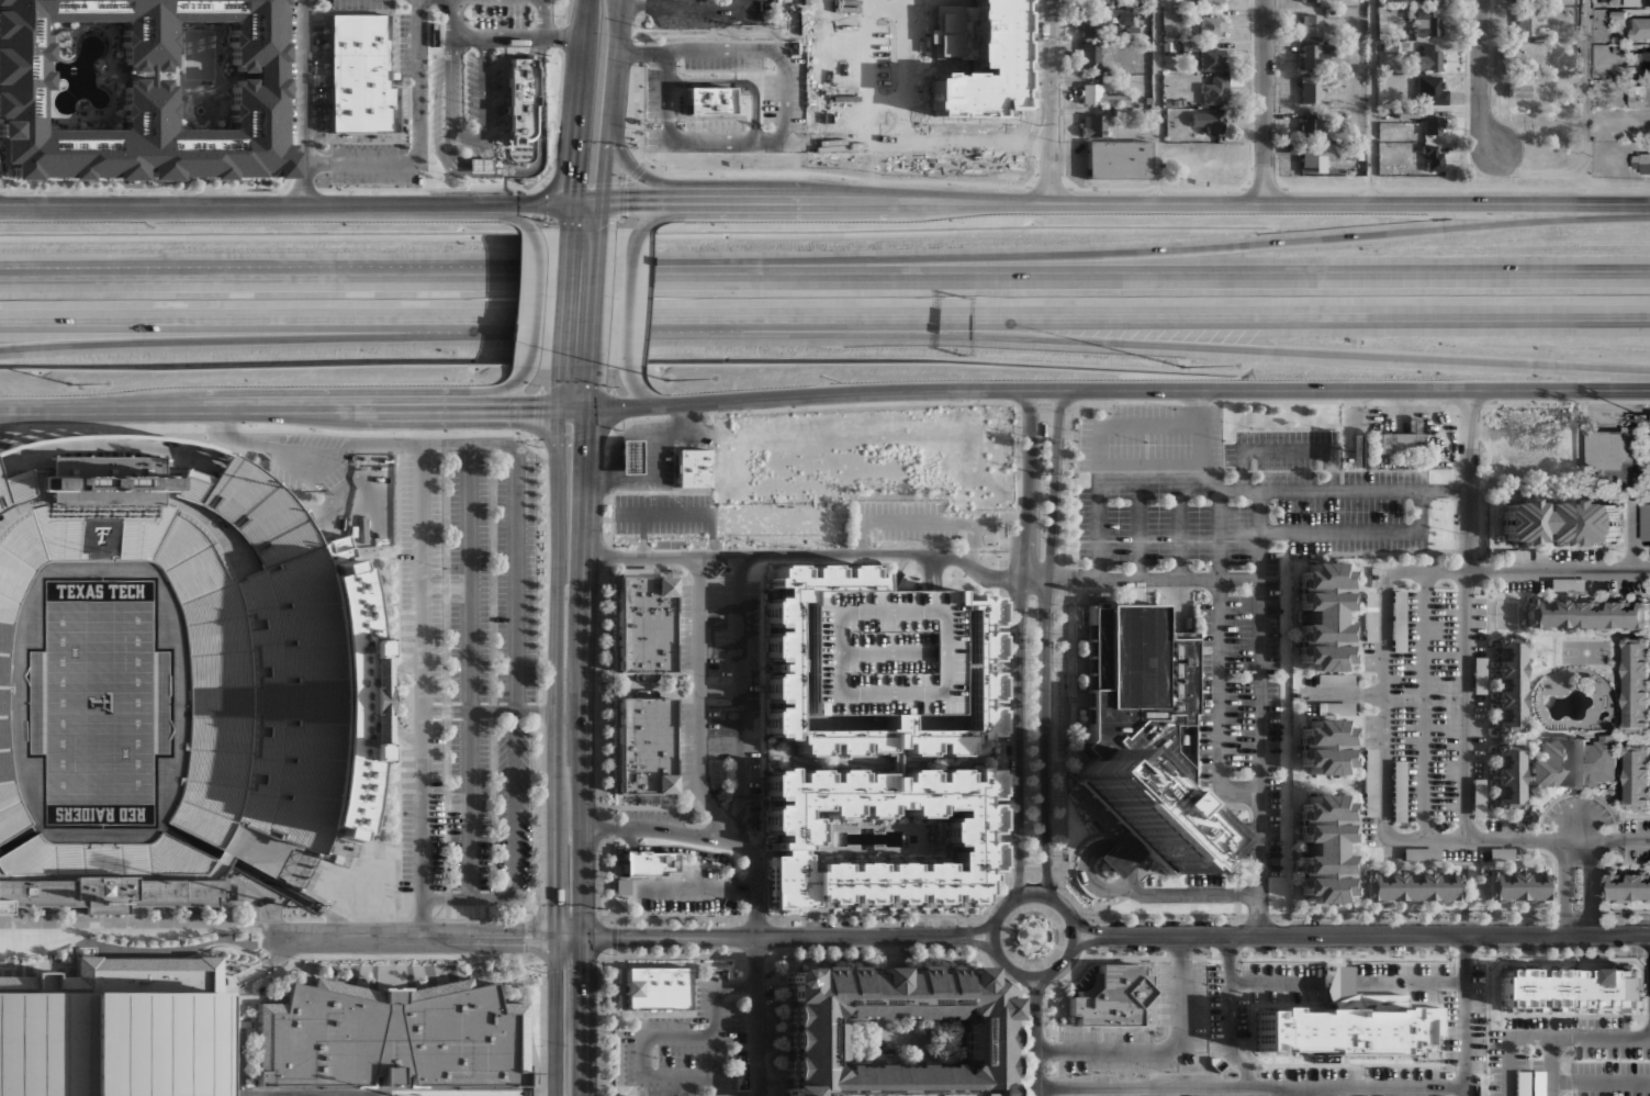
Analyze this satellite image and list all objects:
building: (1311, 0)
building: (1213, 1)
building: (1433, 1)
building: (1634, 2)
building: (1648, 2)
parking lot: (361, 3)
building: (1109, 3)
road: (683, 10)
parking lot: (498, 12)
road: (564, 13)
road: (546, 18)
building: (1107, 21)
building: (1428, 22)
building: (1527, 22)
building: (1311, 24)
building: (1213, 25)
building: (1640, 27)
road: (833, 32)
road: (501, 36)
road: (560, 37)
parking lot: (404, 43)
building: (1398, 46)
road: (740, 52)
building: (1093, 56)
building: (1314, 56)
building: (1430, 56)
building: (1212, 59)
building: (1647, 60)
parking lot: (723, 61)
parking lot: (302, 72)
building: (360, 75)
road: (1481, 76)
road: (740, 82)
building: (1517, 88)
building: (1215, 90)
building: (1432, 90)
building: (1310, 91)
parking lot: (483, 92)
building: (1095, 93)
building: (144, 94)
parking lot: (783, 94)
building: (1639, 94)
building: (857, 96)
building: (790, 97)
building: (1021, 98)
parking lot: (436, 99)
building: (520, 99)
building: (981, 99)
road: (1265, 99)
road: (1050, 100)
road: (1158, 100)
road: (1371, 100)
building: (709, 101)
road: (304, 103)
parking lot: (652, 109)
building: (1517, 110)
building: (1406, 112)
road: (580, 116)
road: (608, 118)
building: (1208, 121)
parking lot: (715, 123)
building: (1310, 123)
building: (1101, 125)
building: (1432, 125)
road: (1587, 132)
road: (469, 136)
road: (419, 138)
road: (928, 142)
road: (695, 143)
road: (540, 149)
building: (1355, 150)
road: (505, 155)
building: (1316, 156)
building: (1433, 158)
building: (1115, 159)
parking lot: (369, 161)
building: (1641, 163)
road: (631, 165)
road: (635, 170)
road: (463, 171)
road: (833, 174)
road: (625, 180)
road: (582, 183)
road: (501, 189)
road: (620, 200)
road: (1070, 200)
road: (543, 201)
traffic signals: (602, 202)
traffic signals: (573, 203)
road: (246, 208)
road: (670, 212)
road: (523, 222)
road: (1316, 239)
road: (258, 272)
road: (1329, 273)
road: (830, 275)
road: (625, 298)
road: (579, 300)
road: (547, 302)
road: (616, 304)
road: (534, 310)
road: (1318, 325)
road: (420, 327)
road: (165, 328)
road: (817, 328)
road: (165, 339)
road: (1318, 351)
road: (579, 389)
road: (642, 391)
road: (1116, 391)
road: (497, 393)
road: (229, 407)
road: (613, 409)
road: (523, 411)
traffic signals: (559, 411)
traffic signals: (585, 411)
road: (684, 418)
road: (849, 426)
road: (269, 427)
road: (683, 434)
parking lot: (1288, 436)
road: (549, 437)
road: (624, 438)
building: (1403, 439)
building: (998, 440)
road: (485, 444)
parking lot: (692, 444)
road: (734, 449)
road: (1287, 450)
building: (630, 454)
gas station: (630, 454)
parking lot: (1228, 455)
building: (1618, 458)
road: (619, 463)
road: (1118, 465)
building: (693, 468)
parking lot: (670, 469)
building: (833, 469)
parking lot: (1287, 470)
parking lot: (731, 471)
parking lot: (949, 472)
road: (964, 472)
parking lot: (1157, 477)
parking lot: (1387, 477)
road: (1100, 478)
road: (1138, 478)
road: (1179, 478)
road: (642, 481)
parking lot: (987, 491)
road: (1241, 491)
building: (841, 496)
parking lot: (900, 507)
building: (377, 510)
parking lot: (1343, 511)
building: (1559, 521)
building: (1646, 521)
road: (922, 523)
parking lot: (1085, 523)
parking lot: (990, 524)
road: (1362, 532)
road: (1138, 534)
parking lot: (1179, 534)
road: (1179, 534)
parking lot: (916, 535)
road: (1635, 535)
road: (1642, 541)
parking lot: (1359, 545)
building: (1514, 555)
parking lot: (1529, 555)
building: (1539, 555)
parking lot: (1576, 555)
road: (927, 557)
road: (930, 573)
parking lot: (515, 575)
parking lot: (1523, 584)
building: (1567, 584)
parking lot: (1616, 584)
road: (445, 588)
parking lot: (1140, 593)
parking lot: (687, 600)
road: (1179, 600)
building: (1587, 611)
parking lot: (1273, 613)
road: (1387, 613)
park: (1506, 615)
building: (1322, 616)
building: (1369, 616)
building: (1398, 620)
building: (643, 625)
parking lot: (1206, 625)
parking lot: (720, 626)
parking lot: (1479, 626)
parking lot: (1241, 634)
road: (1019, 646)
road: (1044, 648)
road: (557, 651)
parking lot: (878, 651)
park: (1584, 651)
parking lot: (687, 652)
parking lot: (1369, 656)
road: (1221, 658)
building: (784, 659)
parking lot: (1206, 663)
parking lot: (420, 666)
road: (469, 670)
parking lot: (469, 671)
road: (584, 673)
building: (201, 674)
building: (1478, 674)
stadium: (171, 678)
parking lot: (1311, 680)
building: (1334, 680)
parking lot: (1356, 680)
building: (1508, 683)
building: (1636, 683)
road: (422, 690)
road: (721, 691)
road: (741, 693)
road: (1345, 694)
park: (106, 695)
road: (700, 701)
road: (1426, 704)
parking lot: (1405, 705)
parking lot: (1444, 705)
parking lot: (754, 706)
road: (1466, 706)
parking lot: (1311, 707)
building: (1334, 707)
parking lot: (1356, 708)
road: (513, 709)
road: (1261, 713)
parking lot: (1369, 718)
parking lot: (687, 720)
parking lot: (1206, 725)
parking lot: (1275, 726)
parking lot: (1241, 727)
parking lot: (1369, 728)
parking lot: (720, 730)
building: (1142, 735)
parking lot: (1478, 736)
parking lot: (1369, 741)
building: (644, 746)
building: (1323, 747)
parking lot: (687, 760)
building: (1574, 761)
parking lot: (1206, 768)
road: (538, 770)
building: (1507, 774)
building: (1637, 775)
parking lot: (717, 781)
building: (1369, 782)
building: (1398, 791)
building: (1478, 796)
parking lot: (513, 798)
parking lot: (1560, 805)
road: (445, 808)
parking lot: (1600, 812)
parking lot: (652, 815)
parking lot: (1550, 816)
building: (1534, 818)
road: (514, 823)
parking lot: (1502, 825)
parking lot: (1636, 825)
parking lot: (1275, 827)
parking lot: (1369, 830)
road: (1578, 836)
building: (962, 838)
parking lot: (1246, 839)
building: (1323, 849)
road: (688, 850)
parking lot: (1392, 853)
building: (1421, 853)
parking lot: (1463, 853)
building: (1501, 853)
parking lot: (1637, 853)
road: (1122, 854)
road: (1084, 858)
building: (650, 863)
parking lot: (707, 873)
road: (756, 873)
parking lot: (689, 874)
parking lot: (1153, 881)
parking lot: (1205, 881)
road: (1121, 884)
building: (621, 885)
building: (1627, 885)
building: (1410, 886)
building: (1516, 886)
road: (697, 890)
road: (1571, 894)
road: (1585, 894)
road: (1190, 895)
road: (1037, 896)
road: (446, 897)
parking lot: (640, 904)
parking lot: (682, 904)
building: (3, 908)
road: (980, 928)
road: (1089, 930)
road: (134, 932)
road: (995, 935)
road: (1379, 935)
road: (771, 936)
road: (412, 937)
road: (569, 938)
traffic signals: (584, 938)
road: (1074, 938)
traffic signals: (555, 939)
road: (1088, 941)
road: (979, 942)
parking lot: (1283, 968)
road: (1034, 976)
parking lot: (1401, 976)
road: (1351, 984)
building: (1569, 986)
building: (655, 987)
road: (1039, 991)
road: (1029, 993)
parking lot: (1181, 995)
building: (1112, 996)
parking lot: (1299, 996)
parking lot: (701, 1000)
parking lot: (770, 1009)
road: (1469, 1010)
parking lot: (1226, 1011)
road: (1235, 1014)
road: (555, 1017)
road: (584, 1017)
parking lot: (1467, 1019)
parking lot: (663, 1022)
parking lot: (1540, 1022)
parking lot: (1584, 1024)
parking lot: (1609, 1024)
building: (1349, 1026)
building: (112, 1028)
building: (812, 1029)
road: (659, 1036)
building: (392, 1037)
road: (1551, 1039)
road: (1160, 1044)
parking lot: (718, 1051)
parking lot: (1612, 1051)
road: (1034, 1054)
parking lot: (629, 1058)
parking lot: (1520, 1061)
parking lot: (1495, 1062)
parking lot: (1537, 1065)
parking lot: (1609, 1066)
road: (1552, 1067)
parking lot: (1307, 1072)
parking lot: (1359, 1072)
parking lot: (1407, 1072)
road: (1601, 1082)
road: (772, 1083)
building: (1522, 1083)
building: (1537, 1083)
road: (1251, 1086)
parking lot: (671, 1091)
road: (1292, 1091)
road: (1470, 1091)
park: (388, 1093)
parking lot: (1613, 1093)
parking lot: (897, 1094)

